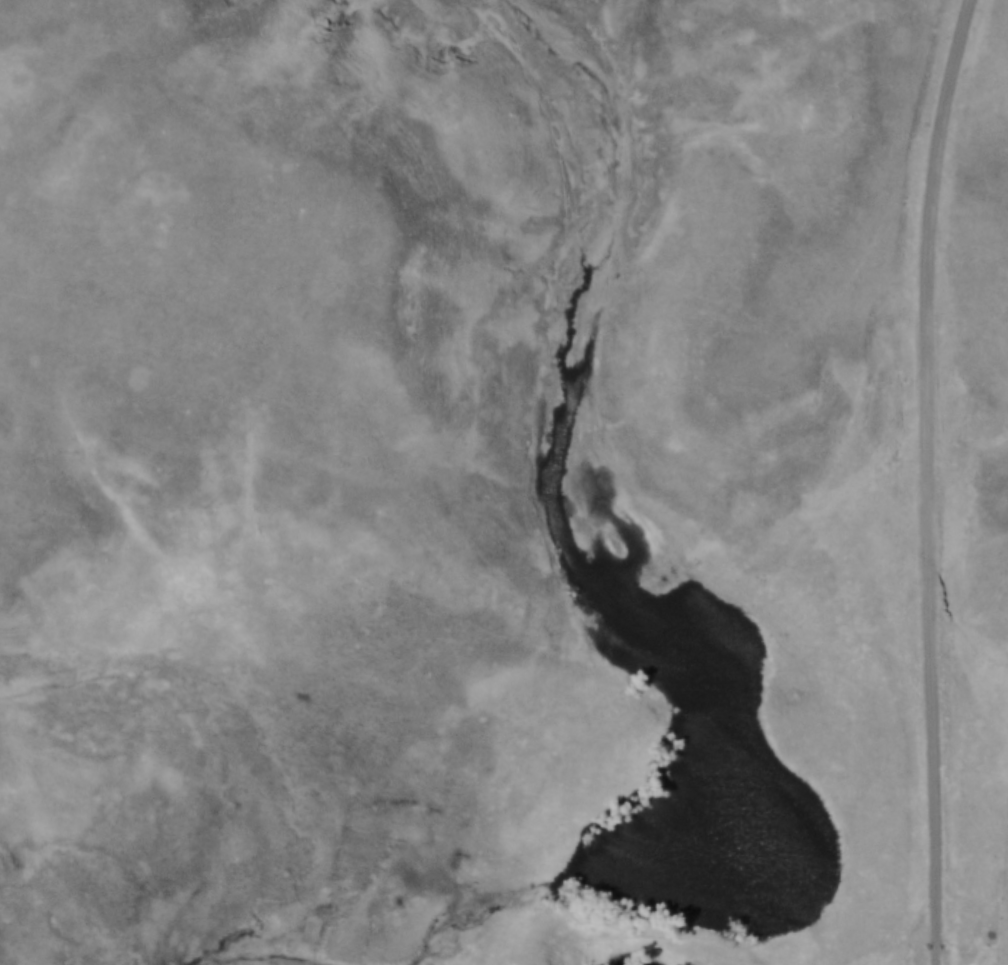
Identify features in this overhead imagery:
road: (928, 480)
road: (974, 902)

